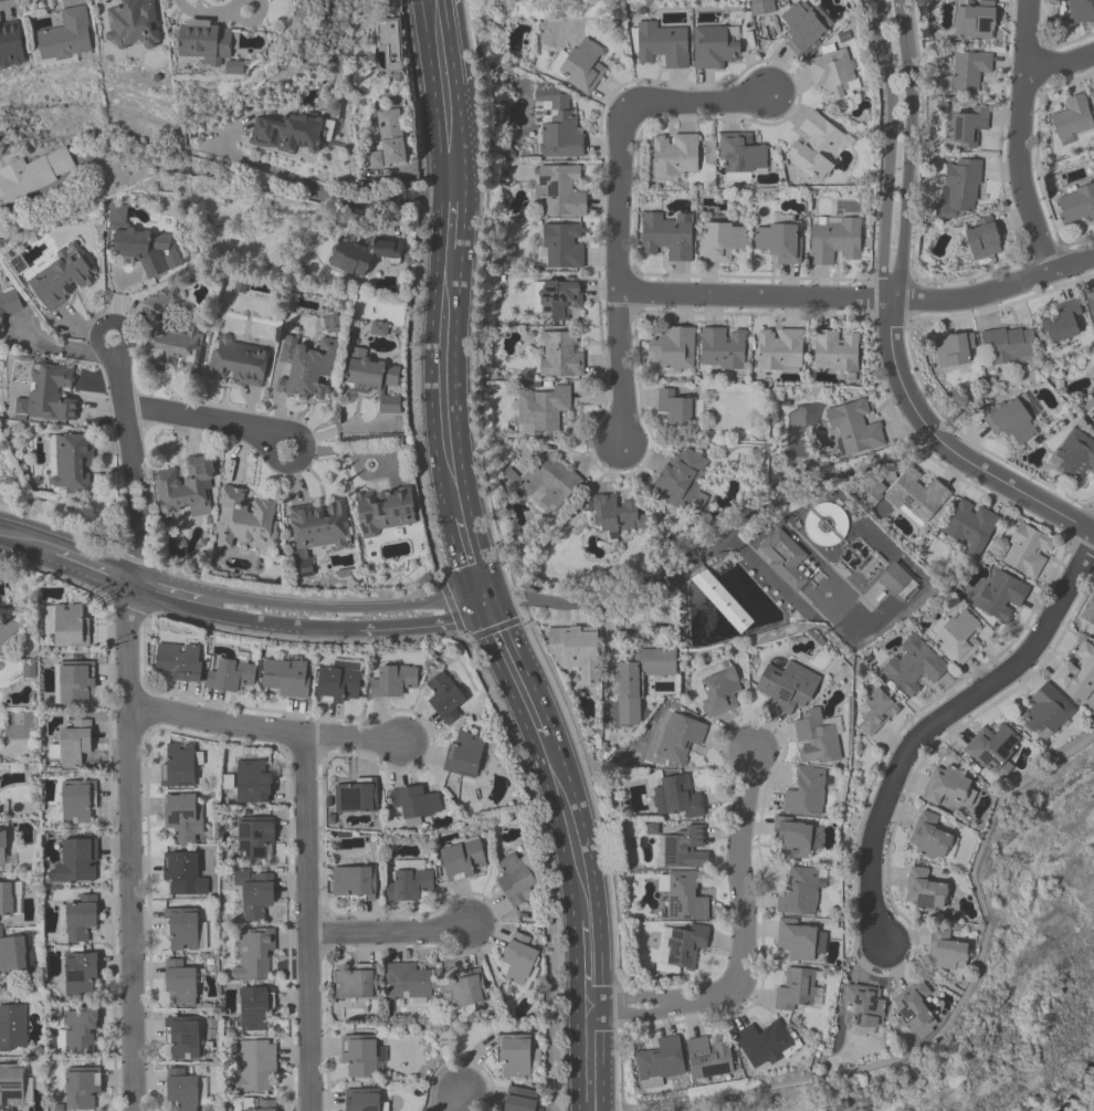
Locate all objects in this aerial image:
road: (901, 7)
building: (1079, 11)
road: (877, 19)
building: (975, 22)
building: (134, 25)
building: (804, 28)
building: (66, 38)
building: (208, 44)
road: (436, 45)
building: (661, 45)
building: (11, 46)
building: (714, 46)
road: (1060, 63)
building: (583, 66)
building: (968, 72)
building: (833, 75)
building: (1091, 97)
road: (696, 102)
building: (1073, 118)
building: (557, 123)
building: (966, 128)
building: (292, 133)
road: (1019, 138)
road: (450, 139)
building: (388, 140)
building: (817, 146)
building: (740, 155)
building: (675, 156)
road: (908, 159)
road: (888, 171)
building: (33, 176)
road: (271, 184)
building: (959, 190)
building: (561, 192)
building: (1076, 206)
road: (450, 221)
building: (665, 237)
building: (834, 240)
building: (720, 241)
building: (779, 241)
building: (982, 241)
building: (560, 245)
building: (143, 247)
building: (362, 253)
road: (621, 275)
building: (62, 279)
building: (558, 297)
road: (474, 298)
road: (861, 304)
building: (9, 305)
building: (1090, 305)
building: (1063, 323)
building: (169, 335)
road: (93, 337)
building: (1008, 345)
building: (723, 348)
building: (672, 349)
building: (780, 349)
building: (835, 352)
building: (950, 354)
building: (560, 355)
building: (239, 361)
building: (307, 368)
building: (375, 381)
road: (441, 386)
building: (49, 395)
building: (540, 410)
building: (677, 410)
road: (198, 417)
building: (1090, 418)
building: (1013, 421)
building: (855, 430)
road: (269, 450)
road: (950, 452)
building: (1075, 460)
building: (72, 463)
road: (132, 469)
road: (830, 476)
building: (683, 479)
building: (544, 484)
building: (185, 489)
building: (917, 500)
road: (0, 505)
building: (386, 511)
building: (617, 515)
building: (245, 520)
building: (970, 528)
building: (317, 531)
road: (31, 544)
building: (1027, 553)
building: (783, 558)
road: (471, 560)
road: (96, 568)
road: (770, 577)
road: (161, 593)
road: (517, 598)
building: (1001, 598)
road: (616, 600)
road: (455, 602)
traffic signals: (484, 604)
road: (311, 608)
road: (451, 608)
building: (1088, 611)
road: (559, 615)
building: (67, 625)
road: (274, 625)
road: (424, 626)
road: (498, 628)
building: (958, 638)
building: (576, 653)
building: (179, 662)
road: (522, 663)
road: (606, 665)
building: (914, 667)
building: (1077, 672)
road: (499, 673)
building: (231, 674)
building: (287, 679)
building: (639, 681)
building: (393, 682)
building: (75, 683)
building: (338, 683)
road: (491, 684)
building: (787, 688)
building: (720, 693)
building: (444, 699)
building: (1048, 711)
building: (876, 713)
road: (936, 721)
road: (263, 730)
building: (818, 738)
building: (676, 741)
building: (75, 744)
building: (993, 751)
building: (469, 755)
building: (178, 765)
building: (252, 783)
building: (948, 785)
road: (589, 788)
building: (807, 794)
building: (356, 796)
building: (680, 798)
building: (75, 801)
building: (414, 804)
building: (185, 817)
road: (559, 834)
building: (797, 838)
building: (930, 838)
building: (255, 839)
road: (129, 847)
building: (683, 849)
building: (4, 851)
building: (462, 859)
building: (76, 862)
road: (737, 869)
road: (593, 870)
building: (181, 873)
building: (516, 878)
building: (409, 882)
building: (355, 883)
building: (927, 891)
building: (255, 892)
building: (801, 893)
building: (683, 897)
building: (9, 900)
building: (78, 919)
road: (307, 921)
building: (183, 930)
road: (387, 931)
building: (797, 940)
building: (682, 946)
building: (946, 953)
building: (12, 955)
building: (255, 955)
road: (576, 956)
building: (520, 961)
building: (81, 975)
building: (180, 983)
building: (408, 984)
building: (354, 985)
building: (799, 991)
building: (463, 993)
road: (713, 995)
road: (625, 998)
road: (620, 1003)
building: (864, 1005)
road: (577, 1008)
building: (912, 1010)
road: (629, 1012)
building: (253, 1013)
road: (953, 1017)
building: (12, 1029)
building: (80, 1031)
road: (601, 1035)
building: (183, 1038)
building: (764, 1044)
building: (359, 1056)
building: (514, 1056)
building: (708, 1057)
building: (659, 1062)
road: (616, 1065)
building: (254, 1066)
road: (579, 1071)
road: (602, 1081)
building: (13, 1087)
building: (185, 1089)
building: (82, 1090)
building: (362, 1100)
building: (519, 1100)
road: (454, 1101)
building: (261, 1105)

